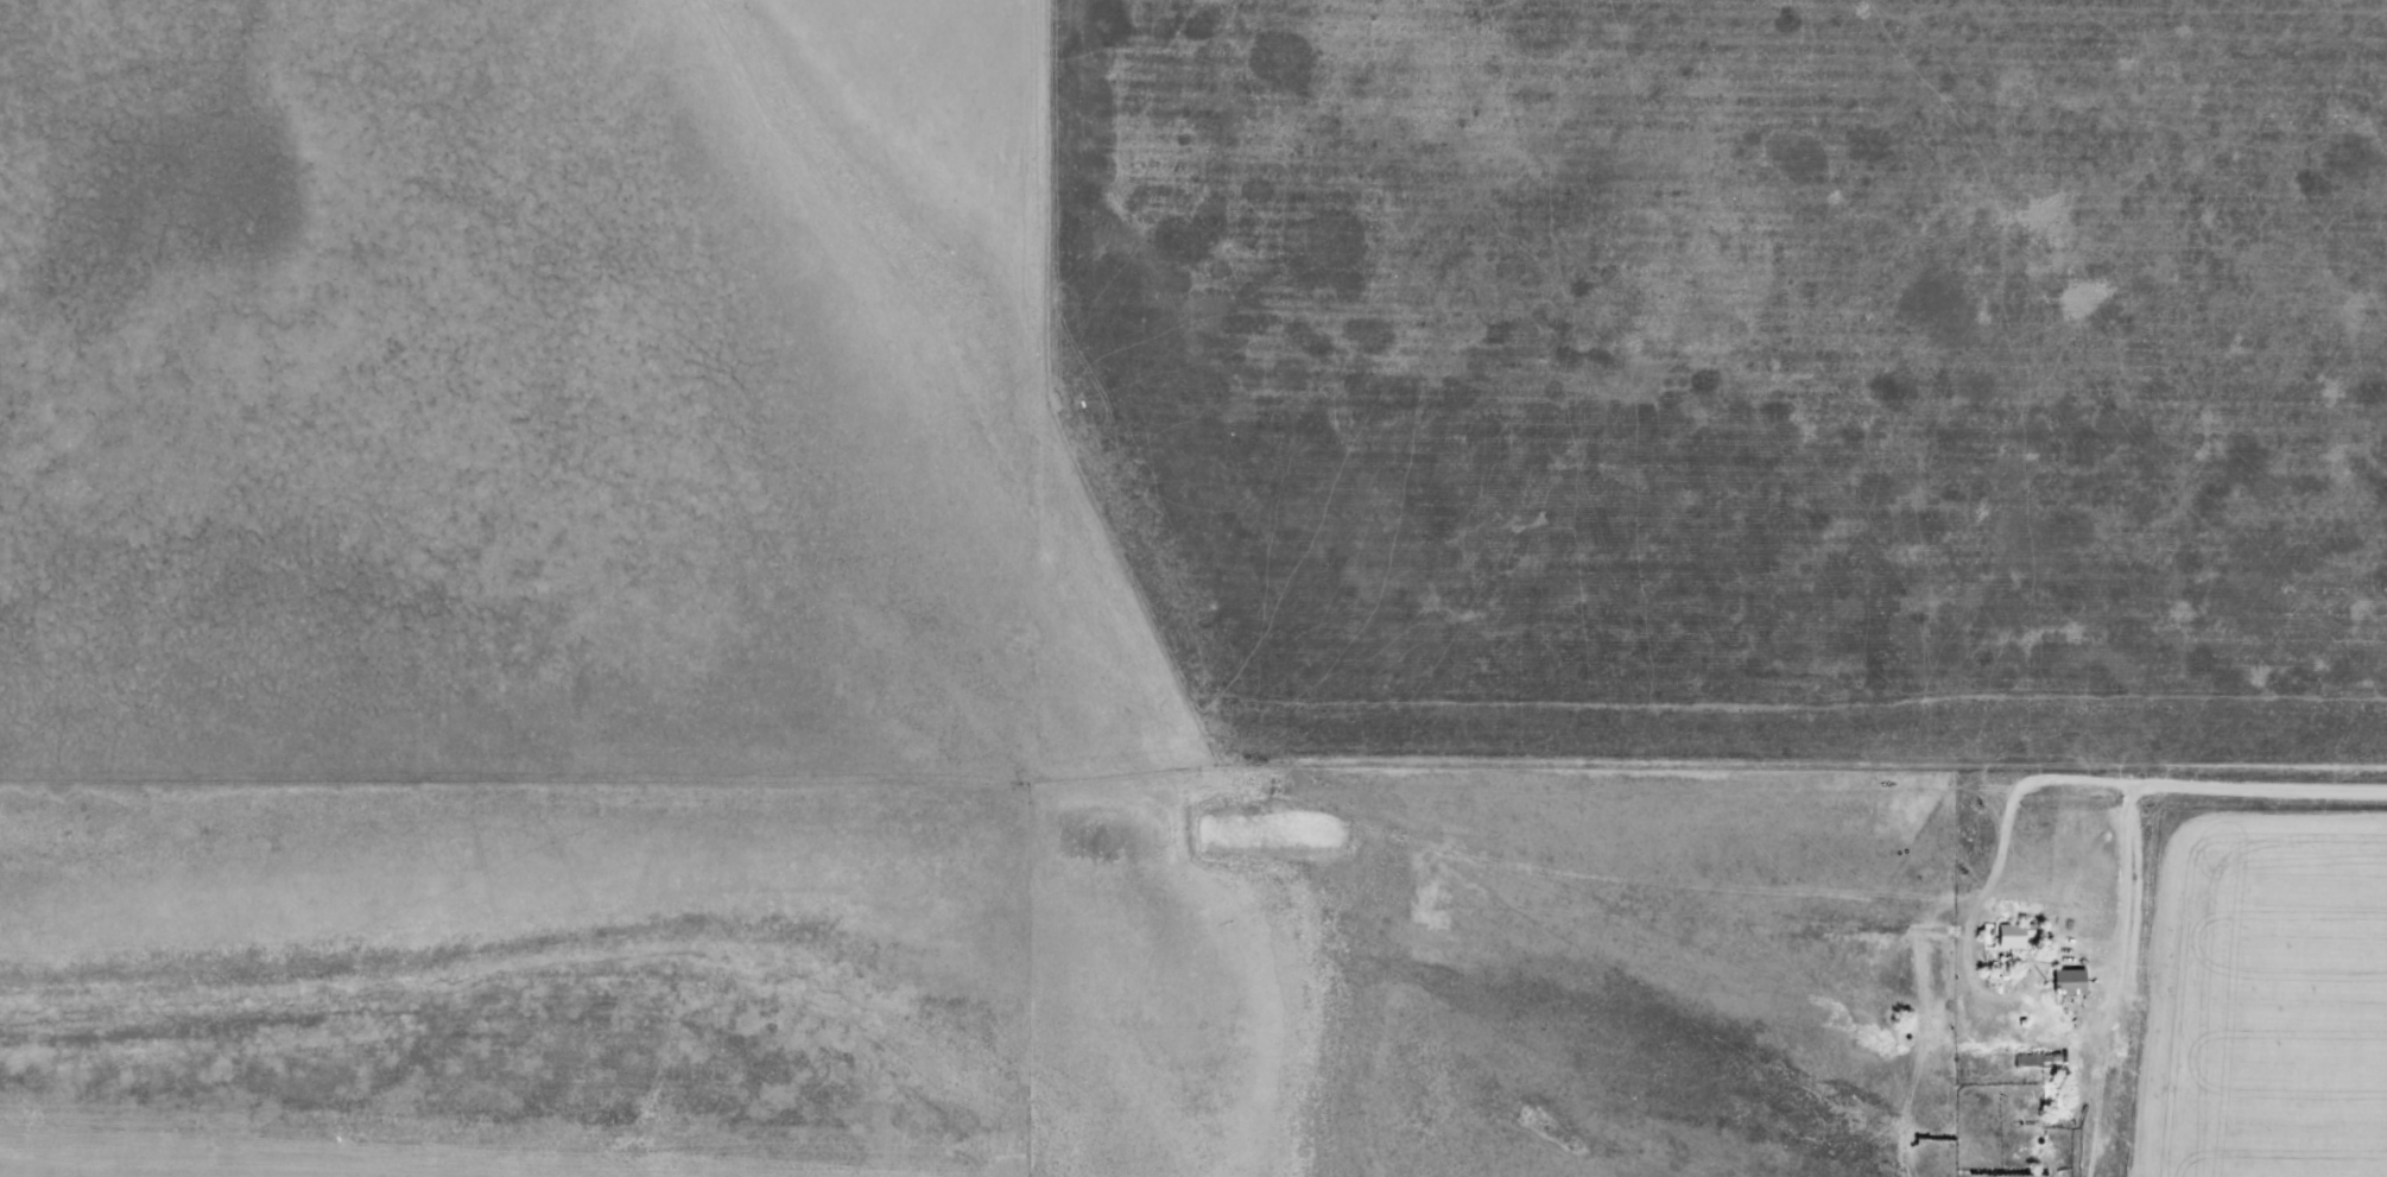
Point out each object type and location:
road: (2166, 773)

